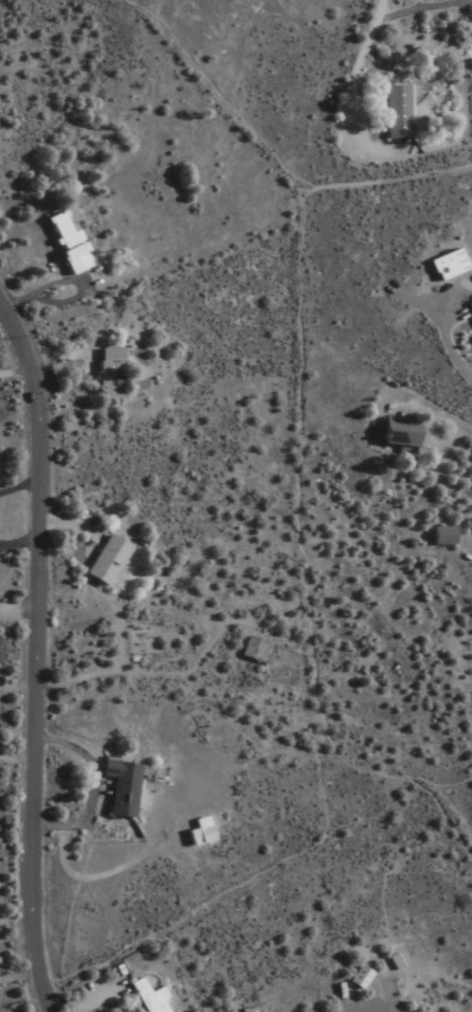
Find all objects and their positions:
road: (355, 94)
building: (394, 112)
road: (275, 159)
building: (65, 242)
building: (470, 305)
road: (15, 374)
building: (107, 375)
building: (395, 432)
building: (440, 536)
building: (104, 560)
road: (298, 571)
building: (253, 650)
road: (38, 656)
road: (147, 672)
road: (444, 770)
building: (117, 787)
building: (199, 832)
road: (95, 878)
road: (230, 883)
building: (357, 978)
building: (147, 997)
building: (246, 1010)

